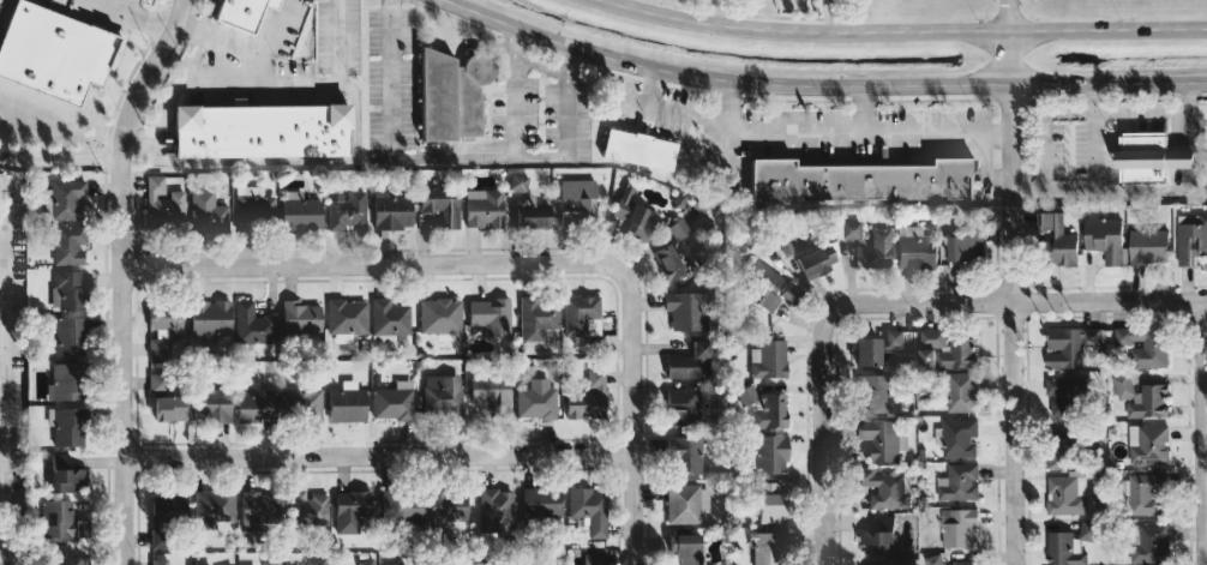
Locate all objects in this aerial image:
road: (126, 6)
building: (241, 12)
road: (132, 14)
road: (906, 30)
road: (548, 37)
building: (50, 49)
road: (260, 52)
road: (691, 77)
road: (394, 78)
road: (1196, 82)
road: (299, 83)
road: (178, 84)
road: (795, 84)
road: (1023, 85)
road: (650, 88)
road: (516, 91)
building: (451, 94)
road: (727, 100)
road: (568, 101)
road: (627, 103)
road: (863, 109)
road: (1143, 109)
road: (685, 113)
road: (726, 127)
building: (262, 131)
road: (935, 132)
road: (794, 133)
building: (638, 148)
building: (1151, 154)
road: (457, 156)
road: (542, 156)
road: (59, 157)
road: (726, 160)
building: (865, 180)
road: (1092, 190)
building: (66, 199)
building: (577, 200)
building: (163, 202)
building: (253, 204)
building: (442, 204)
building: (528, 205)
building: (484, 208)
building: (347, 210)
building: (391, 210)
building: (208, 211)
building: (300, 211)
building: (633, 214)
building: (851, 229)
building: (1105, 238)
building: (1058, 240)
building: (1190, 240)
building: (70, 244)
building: (966, 246)
building: (1148, 246)
building: (915, 247)
building: (876, 250)
building: (672, 252)
road: (371, 260)
building: (816, 260)
road: (121, 275)
building: (765, 275)
road: (1007, 282)
building: (70, 289)
building: (792, 291)
road: (1016, 300)
building: (767, 301)
building: (686, 309)
building: (581, 314)
building: (491, 315)
building: (347, 317)
building: (389, 317)
building: (440, 317)
building: (538, 317)
building: (210, 318)
building: (301, 318)
building: (253, 324)
building: (163, 326)
building: (70, 335)
building: (894, 337)
building: (932, 337)
building: (1069, 344)
building: (1143, 344)
building: (866, 351)
building: (959, 353)
building: (927, 357)
building: (768, 359)
building: (690, 362)
road: (2, 375)
building: (67, 381)
building: (1122, 385)
building: (961, 391)
building: (491, 392)
building: (877, 393)
building: (1063, 395)
building: (443, 396)
building: (588, 397)
building: (536, 398)
building: (394, 402)
building: (1149, 402)
building: (258, 403)
building: (347, 403)
building: (212, 404)
building: (302, 404)
building: (683, 407)
building: (764, 407)
building: (169, 408)
road: (630, 416)
building: (67, 426)
road: (1201, 432)
road: (822, 437)
building: (959, 437)
building: (882, 438)
building: (1148, 443)
building: (1061, 447)
road: (376, 453)
building: (770, 453)
building: (685, 455)
building: (65, 474)
building: (962, 480)
building: (887, 487)
building: (1067, 492)
building: (1145, 492)
building: (542, 501)
building: (686, 503)
building: (771, 503)
building: (449, 504)
building: (212, 507)
building: (307, 507)
building: (401, 507)
building: (589, 509)
building: (257, 510)
building: (352, 510)
building: (496, 510)
building: (166, 517)
building: (61, 519)
building: (961, 525)
building: (1087, 529)
building: (881, 535)
building: (1149, 543)
building: (684, 548)
building: (769, 548)
building: (1063, 549)
building: (64, 555)
building: (594, 557)
building: (158, 561)
building: (272, 561)
building: (319, 561)
building: (366, 561)
building: (963, 561)
building: (414, 564)

